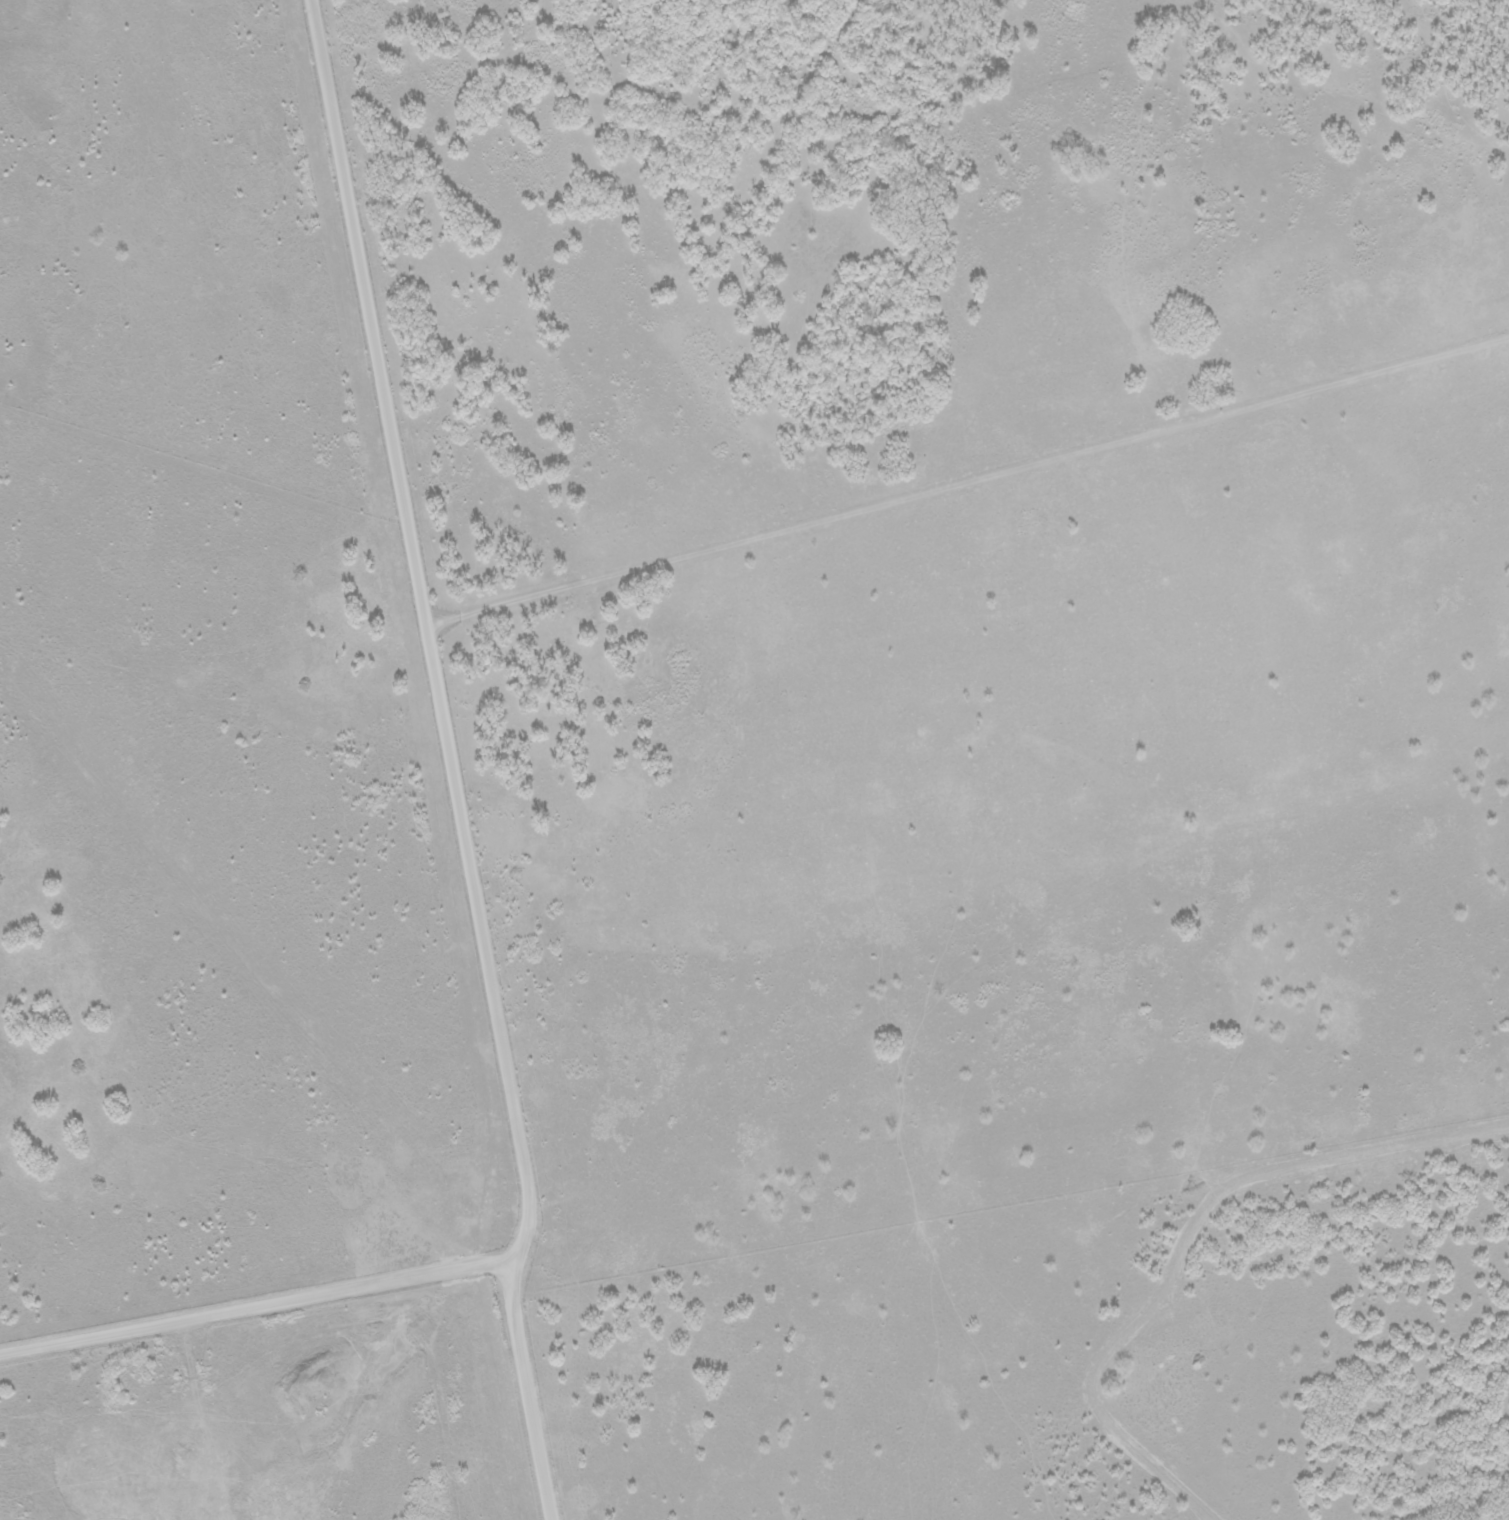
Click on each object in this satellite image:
road: (971, 485)
road: (456, 759)
road: (260, 1302)

